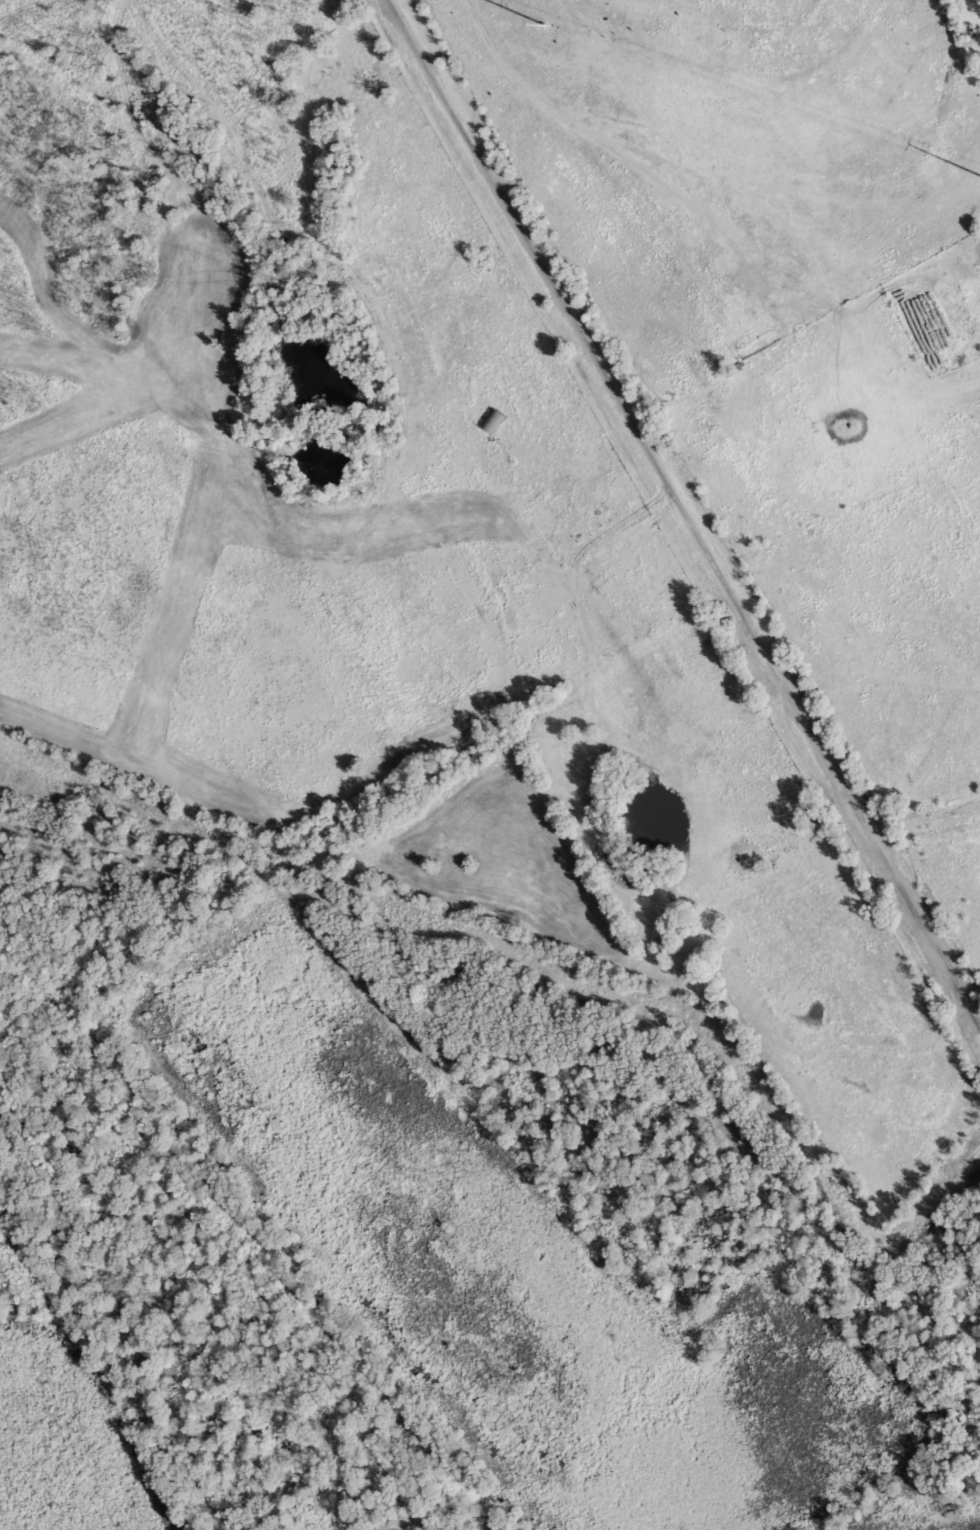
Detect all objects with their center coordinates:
power tower: (545, 25)
road: (655, 166)
road: (630, 416)
building: (490, 422)
road: (925, 929)

